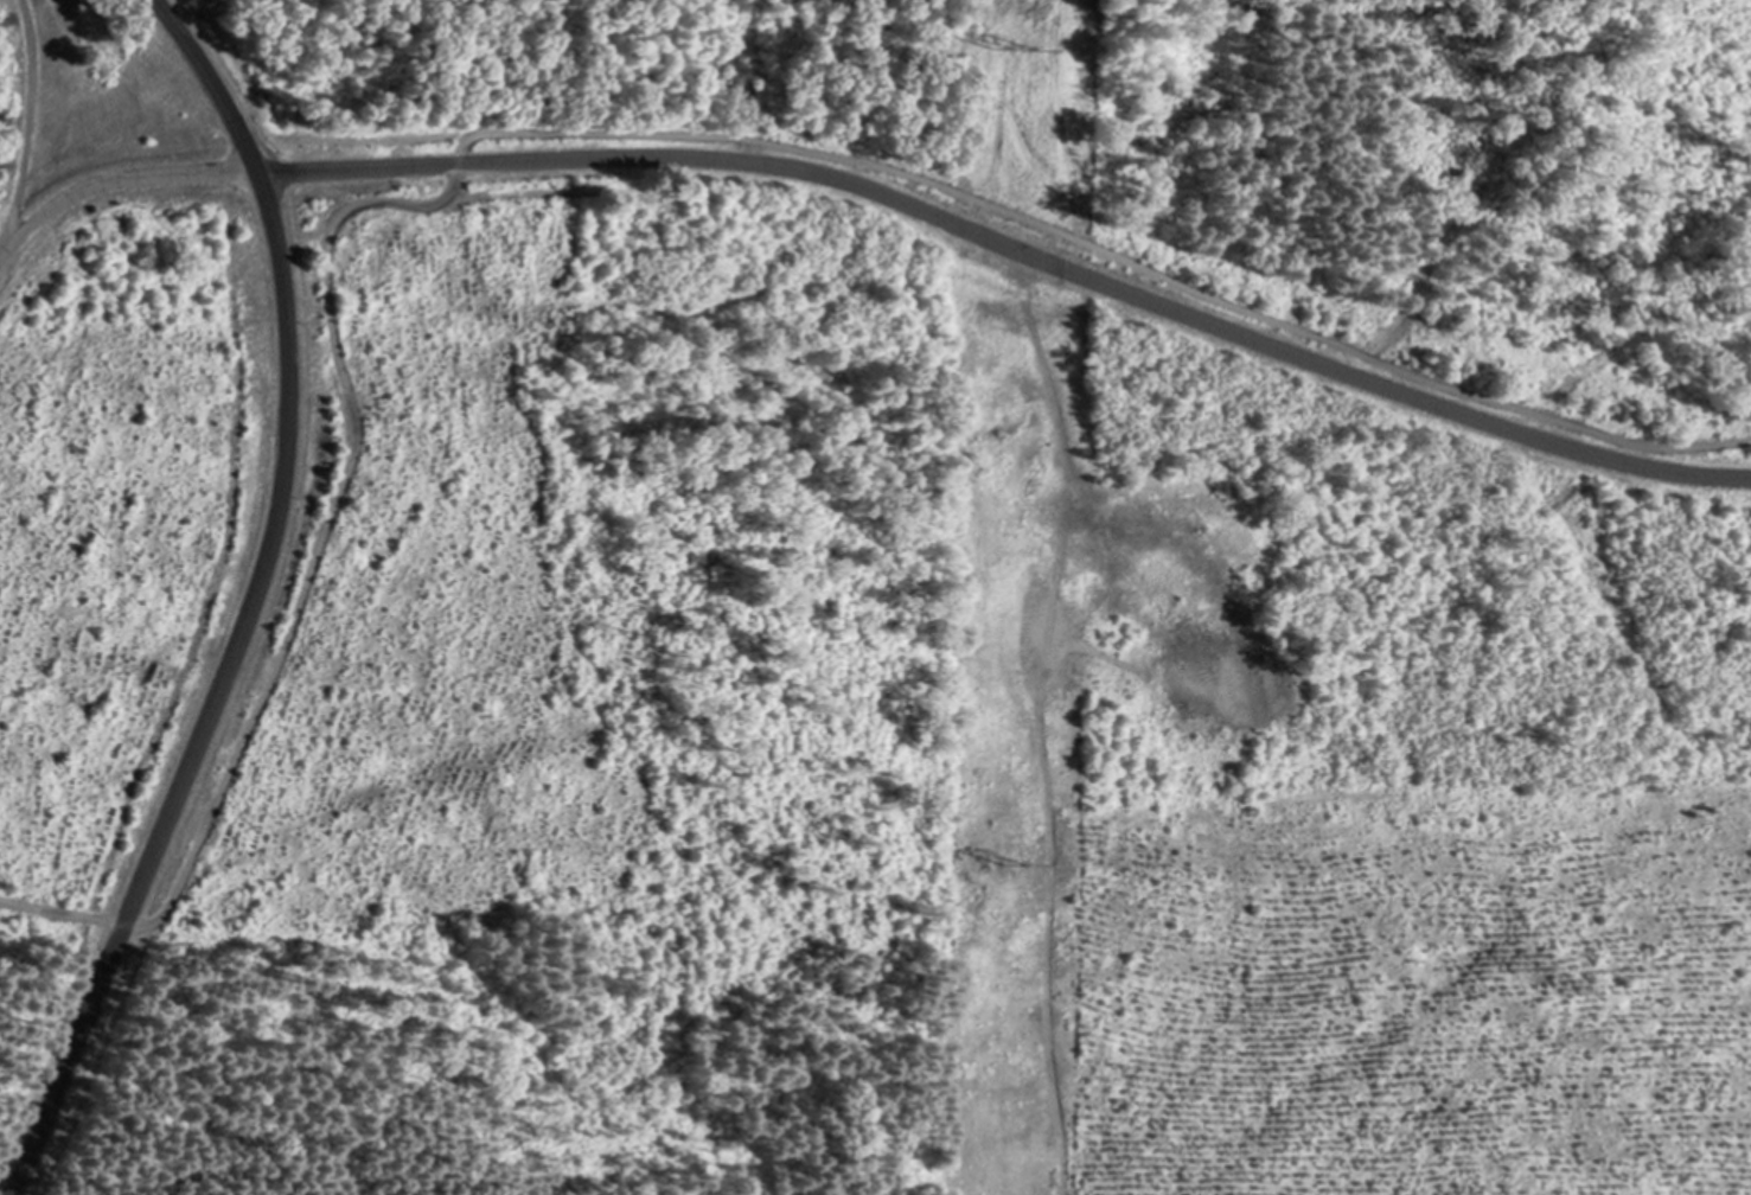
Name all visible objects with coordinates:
power tower: (1016, 47)
road: (870, 162)
road: (882, 188)
road: (249, 602)
road: (1042, 724)
power tower: (1014, 864)

